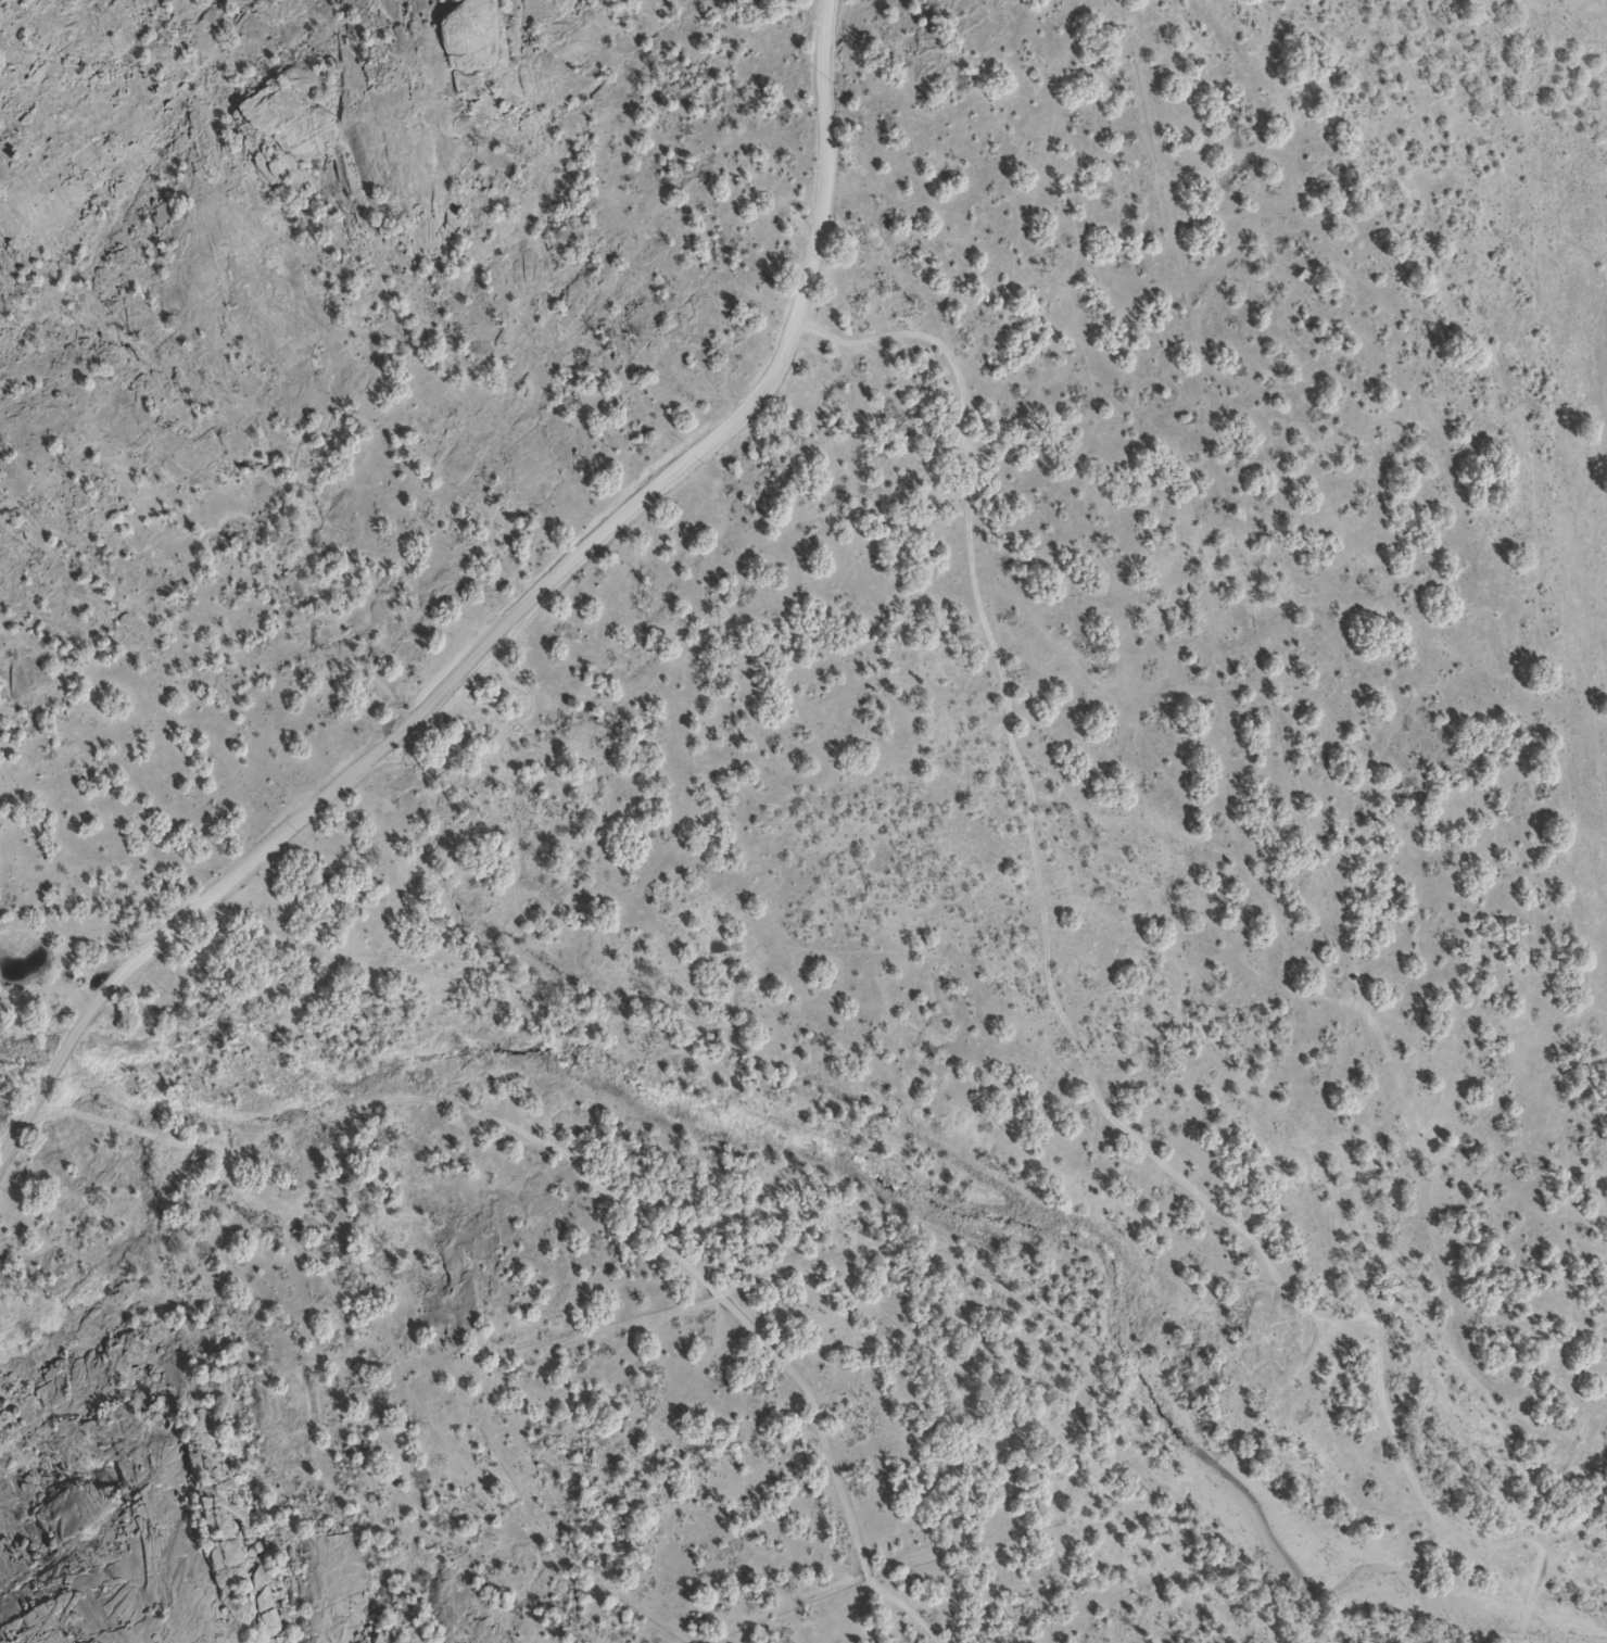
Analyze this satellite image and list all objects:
road: (508, 625)

